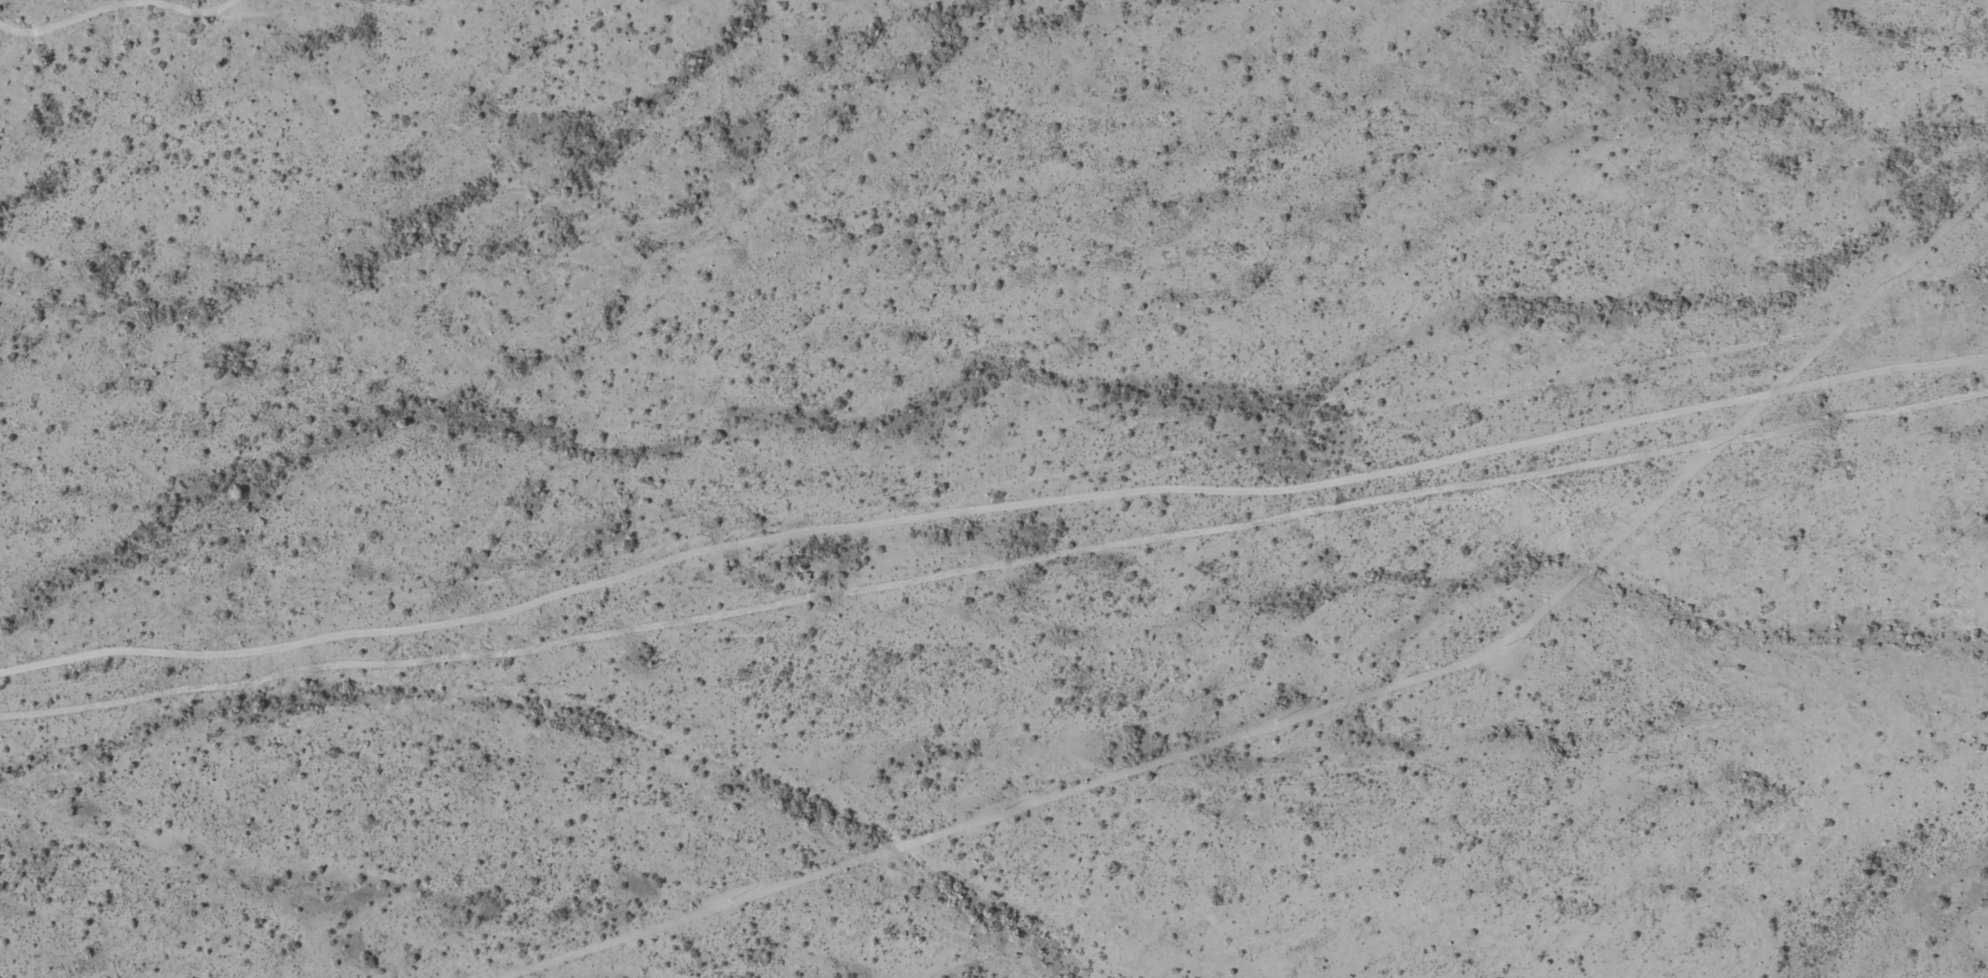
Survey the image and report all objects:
road: (996, 513)

